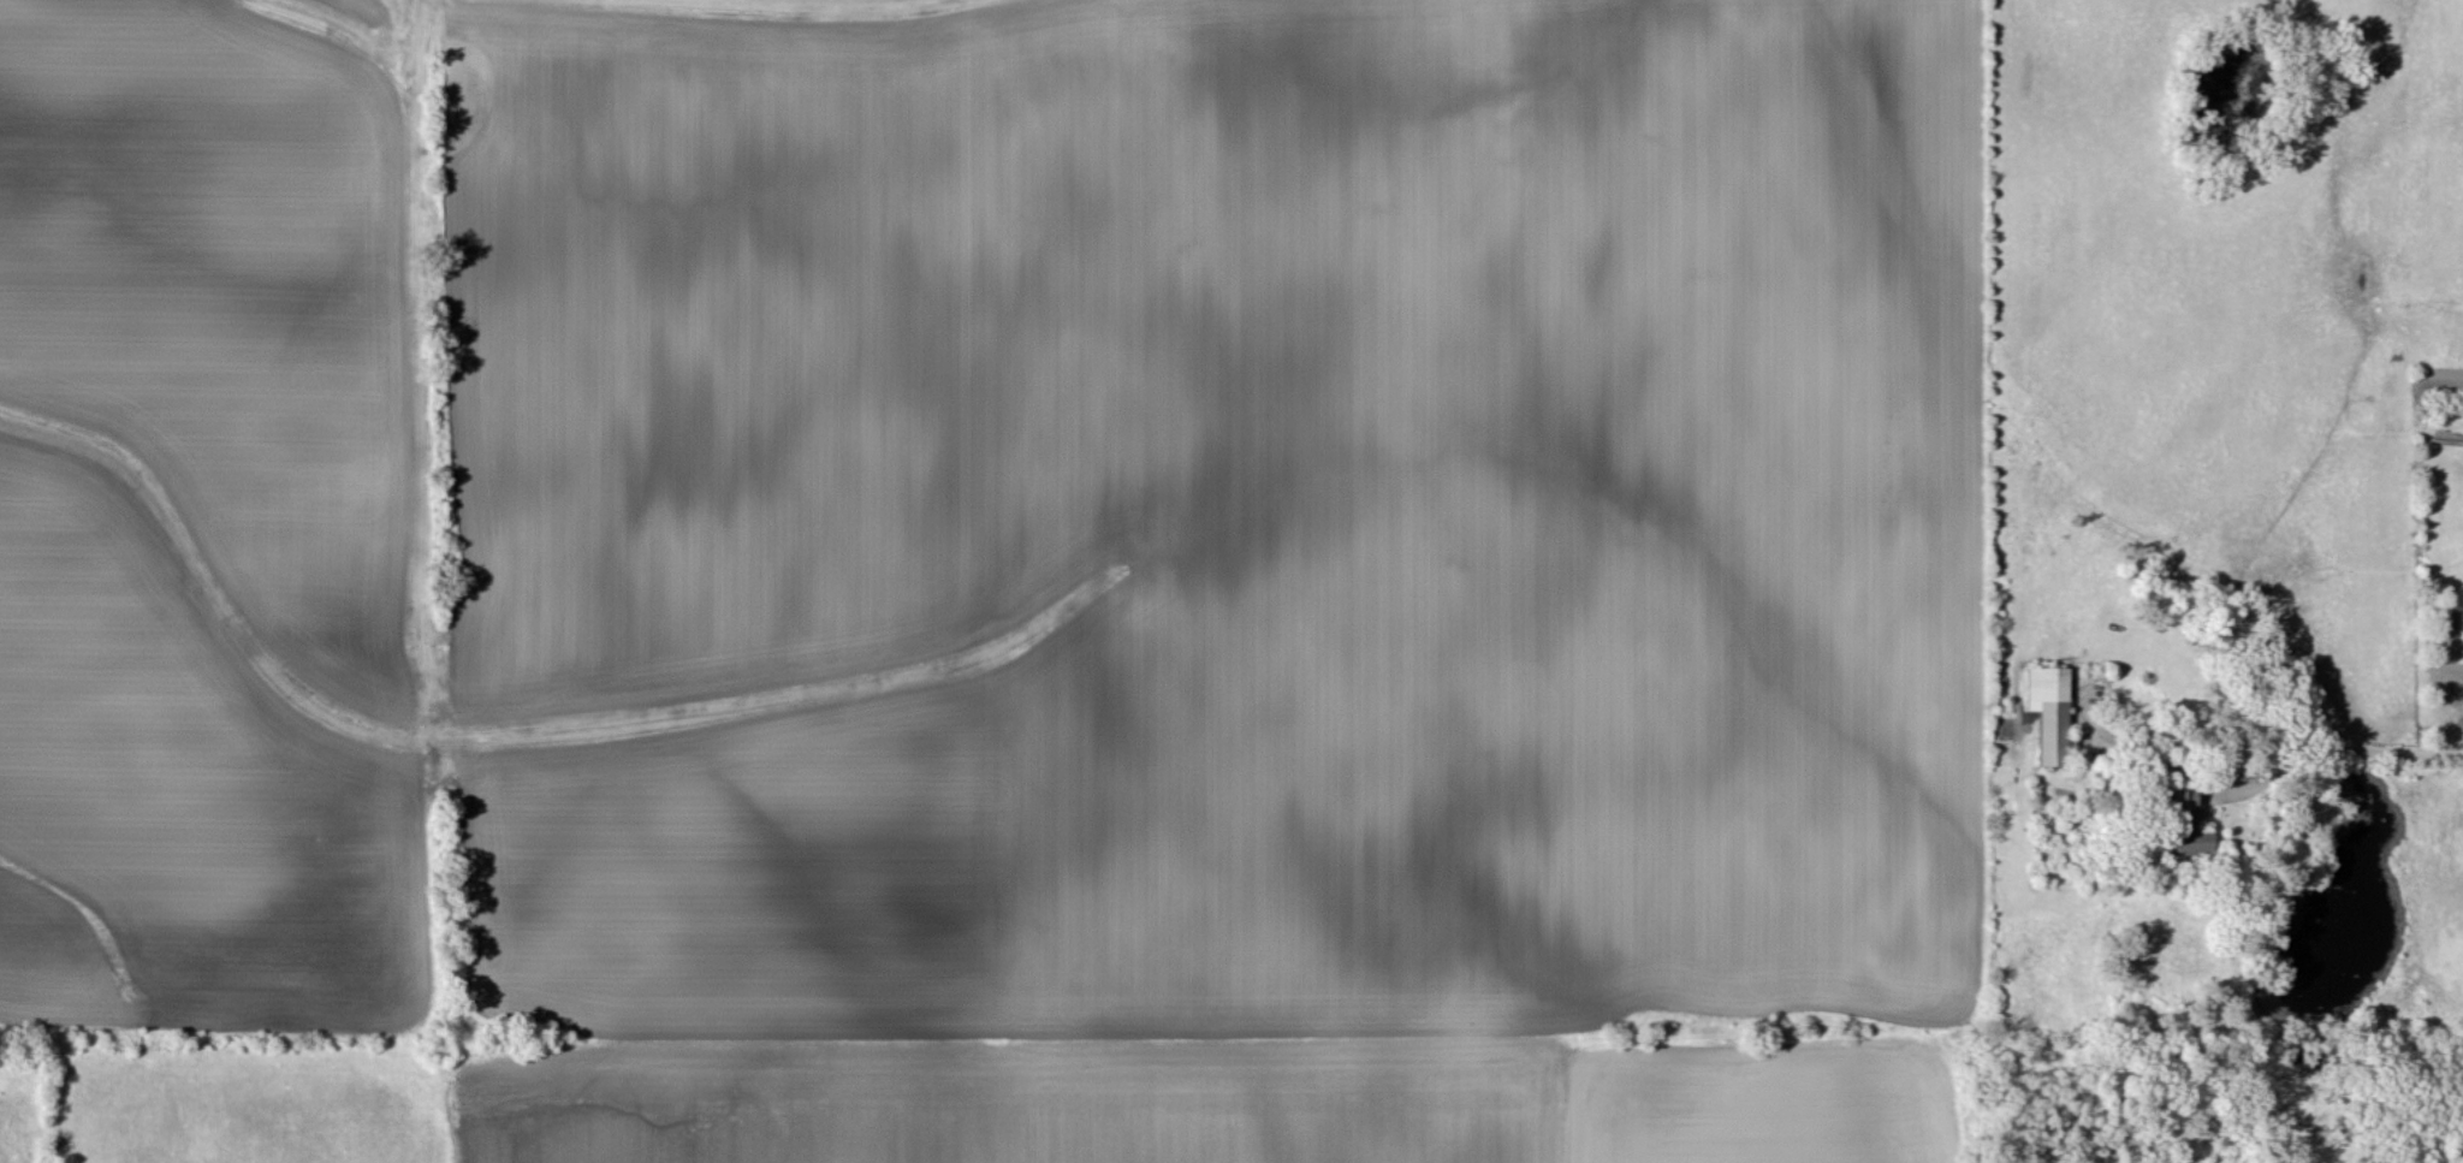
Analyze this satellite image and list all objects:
building: (2048, 714)
road: (2343, 740)
building: (2188, 830)

